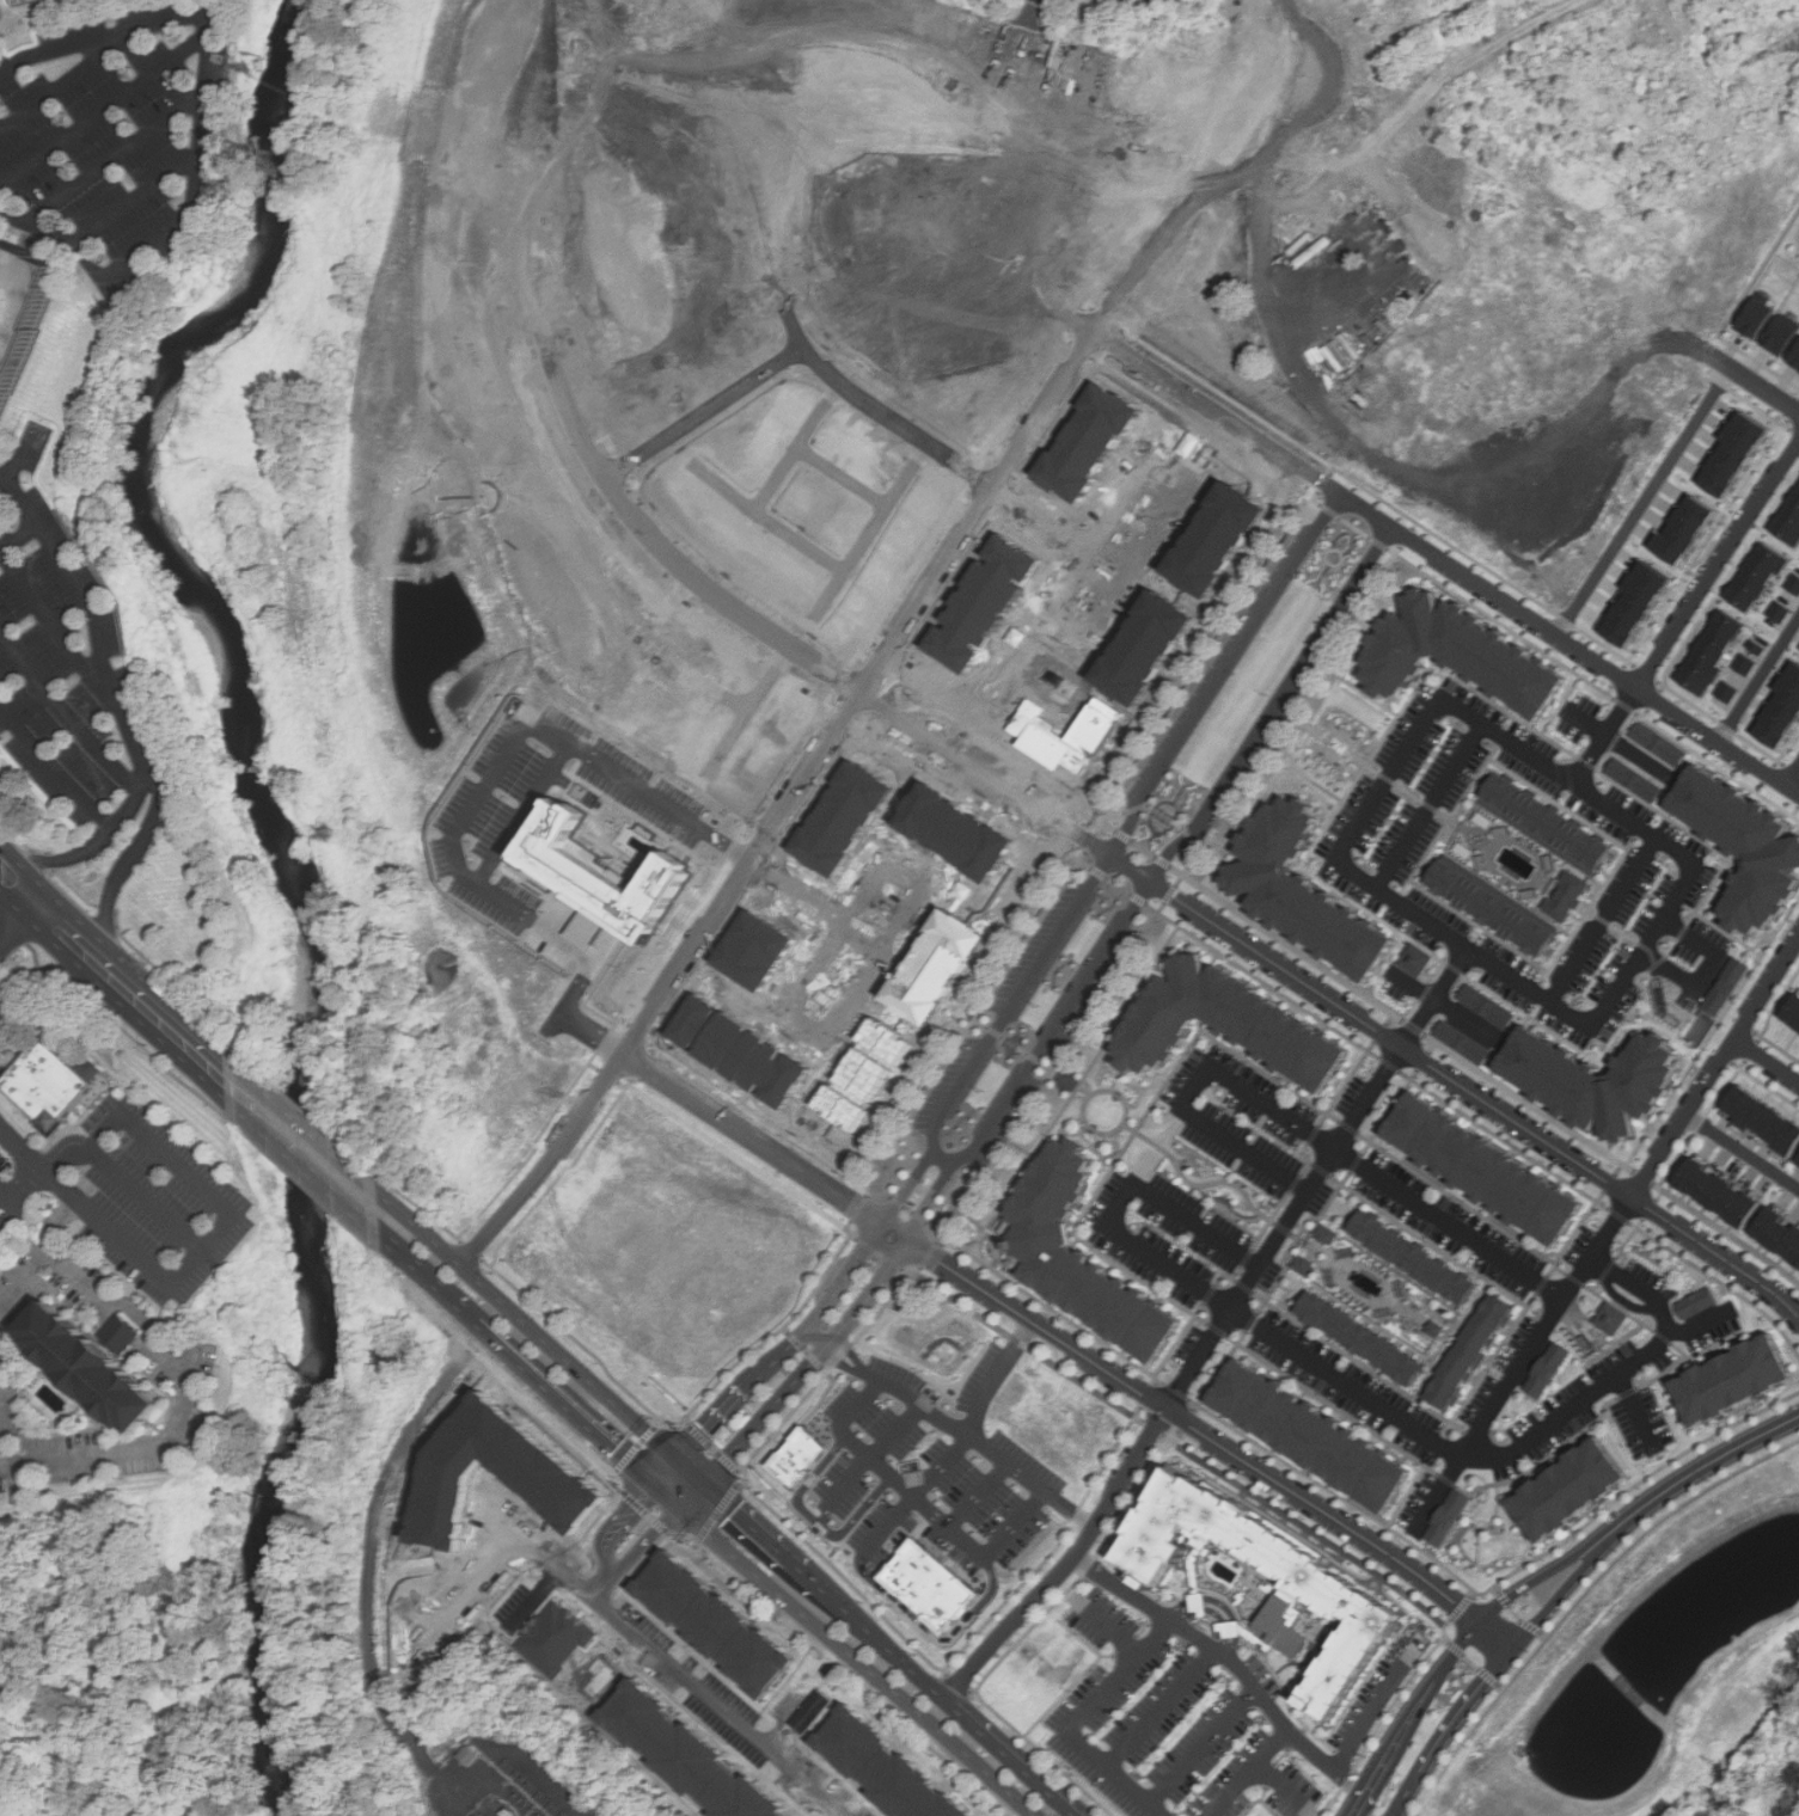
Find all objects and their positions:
building: (24, 2)
parking garage: (24, 2)
road: (1273, 12)
road: (73, 44)
road: (104, 110)
road: (210, 118)
road: (120, 151)
road: (142, 194)
river: (259, 240)
road: (1752, 284)
building: (18, 300)
building: (1757, 315)
building: (1782, 335)
building: (1795, 357)
road: (1752, 387)
road: (650, 440)
building: (1090, 441)
building: (1736, 453)
road: (1641, 504)
building: (1789, 521)
building: (1687, 529)
road: (20, 535)
road: (1407, 539)
road: (1383, 546)
road: (1411, 564)
road: (1715, 565)
road: (1451, 569)
building: (1758, 577)
building: (1794, 582)
building: (985, 603)
building: (1638, 606)
building: (1781, 611)
road: (51, 621)
road: (99, 625)
building: (1758, 646)
building: (1714, 651)
building: (1458, 655)
building: (1746, 663)
road: (1222, 673)
road: (1757, 677)
road: (1616, 679)
building: (1728, 692)
road: (1623, 703)
road: (1562, 704)
road: (1275, 708)
road: (63, 710)
building: (1782, 716)
road: (1536, 726)
road: (1338, 730)
building: (1039, 734)
road: (1604, 734)
building: (1658, 743)
road: (1332, 753)
river: (228, 763)
road: (57, 765)
road: (1254, 769)
road: (1565, 771)
road: (1303, 774)
road: (1792, 775)
road: (986, 780)
building: (1634, 780)
road: (1415, 792)
road: (1432, 799)
road: (472, 802)
road: (1564, 806)
road: (789, 809)
road: (522, 814)
building: (1546, 824)
road: (1189, 840)
road: (90, 846)
building: (1744, 846)
road: (1162, 860)
building: (595, 863)
road: (1131, 867)
road: (120, 870)
road: (1333, 886)
road: (1173, 891)
building: (1303, 892)
building: (1566, 897)
building: (1491, 908)
road: (1607, 913)
road: (47, 915)
road: (1701, 918)
building: (588, 921)
road: (13, 925)
road: (1492, 934)
road: (1731, 935)
road: (881, 939)
road: (1298, 950)
road: (1642, 950)
building: (1415, 959)
road: (100, 963)
road: (1456, 968)
road: (45, 973)
road: (1713, 973)
building: (1725, 986)
road: (1426, 990)
road: (1017, 1001)
road: (1440, 1005)
building: (1486, 1006)
road: (149, 1010)
building: (1794, 1013)
road: (1055, 1025)
building: (1229, 1025)
road: (1383, 1027)
road: (1415, 1027)
road: (1390, 1039)
building: (1462, 1042)
road: (1403, 1045)
building: (740, 1050)
road: (1767, 1060)
road: (1044, 1065)
road: (224, 1066)
building: (91, 1068)
road: (1714, 1070)
road: (616, 1078)
road: (214, 1079)
building: (1592, 1081)
road: (624, 1082)
building: (43, 1084)
road: (1252, 1097)
road: (1084, 1116)
building: (1764, 1119)
road: (323, 1140)
road: (1246, 1148)
road: (1742, 1152)
road: (25, 1154)
road: (946, 1158)
road: (742, 1160)
road: (304, 1166)
building: (1486, 1170)
road: (1203, 1184)
road: (19, 1188)
building: (1720, 1194)
road: (147, 1198)
road: (233, 1217)
river: (289, 1222)
road: (1449, 1223)
road: (1195, 1225)
road: (894, 1233)
building: (1326, 1233)
building: (1780, 1233)
road: (881, 1250)
building: (1077, 1254)
road: (1717, 1256)
building: (1414, 1257)
road: (50, 1258)
building: (1304, 1265)
road: (1250, 1277)
road: (85, 1289)
building: (1695, 1302)
road: (819, 1315)
building: (1610, 1318)
road: (1700, 1321)
road: (840, 1332)
road: (126, 1333)
road: (820, 1336)
building: (1362, 1337)
road: (549, 1344)
road: (1024, 1344)
road: (853, 1349)
building: (1468, 1351)
road: (843, 1361)
road: (532, 1362)
road: (1517, 1364)
building: (100, 1368)
building: (1547, 1369)
building: (1731, 1380)
road: (1635, 1413)
road: (1413, 1428)
road: (1152, 1429)
building: (729, 1432)
building: (1308, 1434)
road: (979, 1444)
road: (962, 1446)
road: (153, 1447)
road: (875, 1455)
building: (801, 1456)
traffic signals: (680, 1461)
road: (1691, 1474)
traffic signals: (706, 1485)
traffic signals: (666, 1487)
building: (1566, 1489)
road: (981, 1497)
road: (924, 1499)
traffic signals: (684, 1505)
building: (1444, 1516)
road: (825, 1517)
road: (816, 1520)
road: (1341, 1524)
road: (1302, 1527)
road: (759, 1534)
road: (377, 1539)
road: (625, 1551)
road: (1066, 1562)
road: (608, 1571)
road: (1189, 1577)
river: (263, 1584)
building: (935, 1587)
building: (1324, 1593)
road: (1578, 1596)
road: (1499, 1599)
road: (1214, 1605)
road: (1207, 1613)
road: (1450, 1613)
road: (625, 1619)
building: (714, 1622)
road: (1105, 1625)
road: (1246, 1634)
road: (938, 1636)
road: (1020, 1638)
building: (556, 1639)
road: (876, 1639)
road: (1443, 1640)
road: (859, 1659)
road: (1230, 1661)
road: (1470, 1663)
road: (1486, 1677)
road: (1499, 1686)
road: (1371, 1705)
road: (1156, 1707)
building: (809, 1712)
road: (1382, 1714)
road: (1071, 1717)
road: (1198, 1744)
road: (1391, 1748)
road: (1008, 1756)
building: (687, 1757)
building: (883, 1769)
road: (1248, 1769)
park: (1776, 1780)
power substation: (497, 1784)
road: (1281, 1786)
road: (834, 1812)

